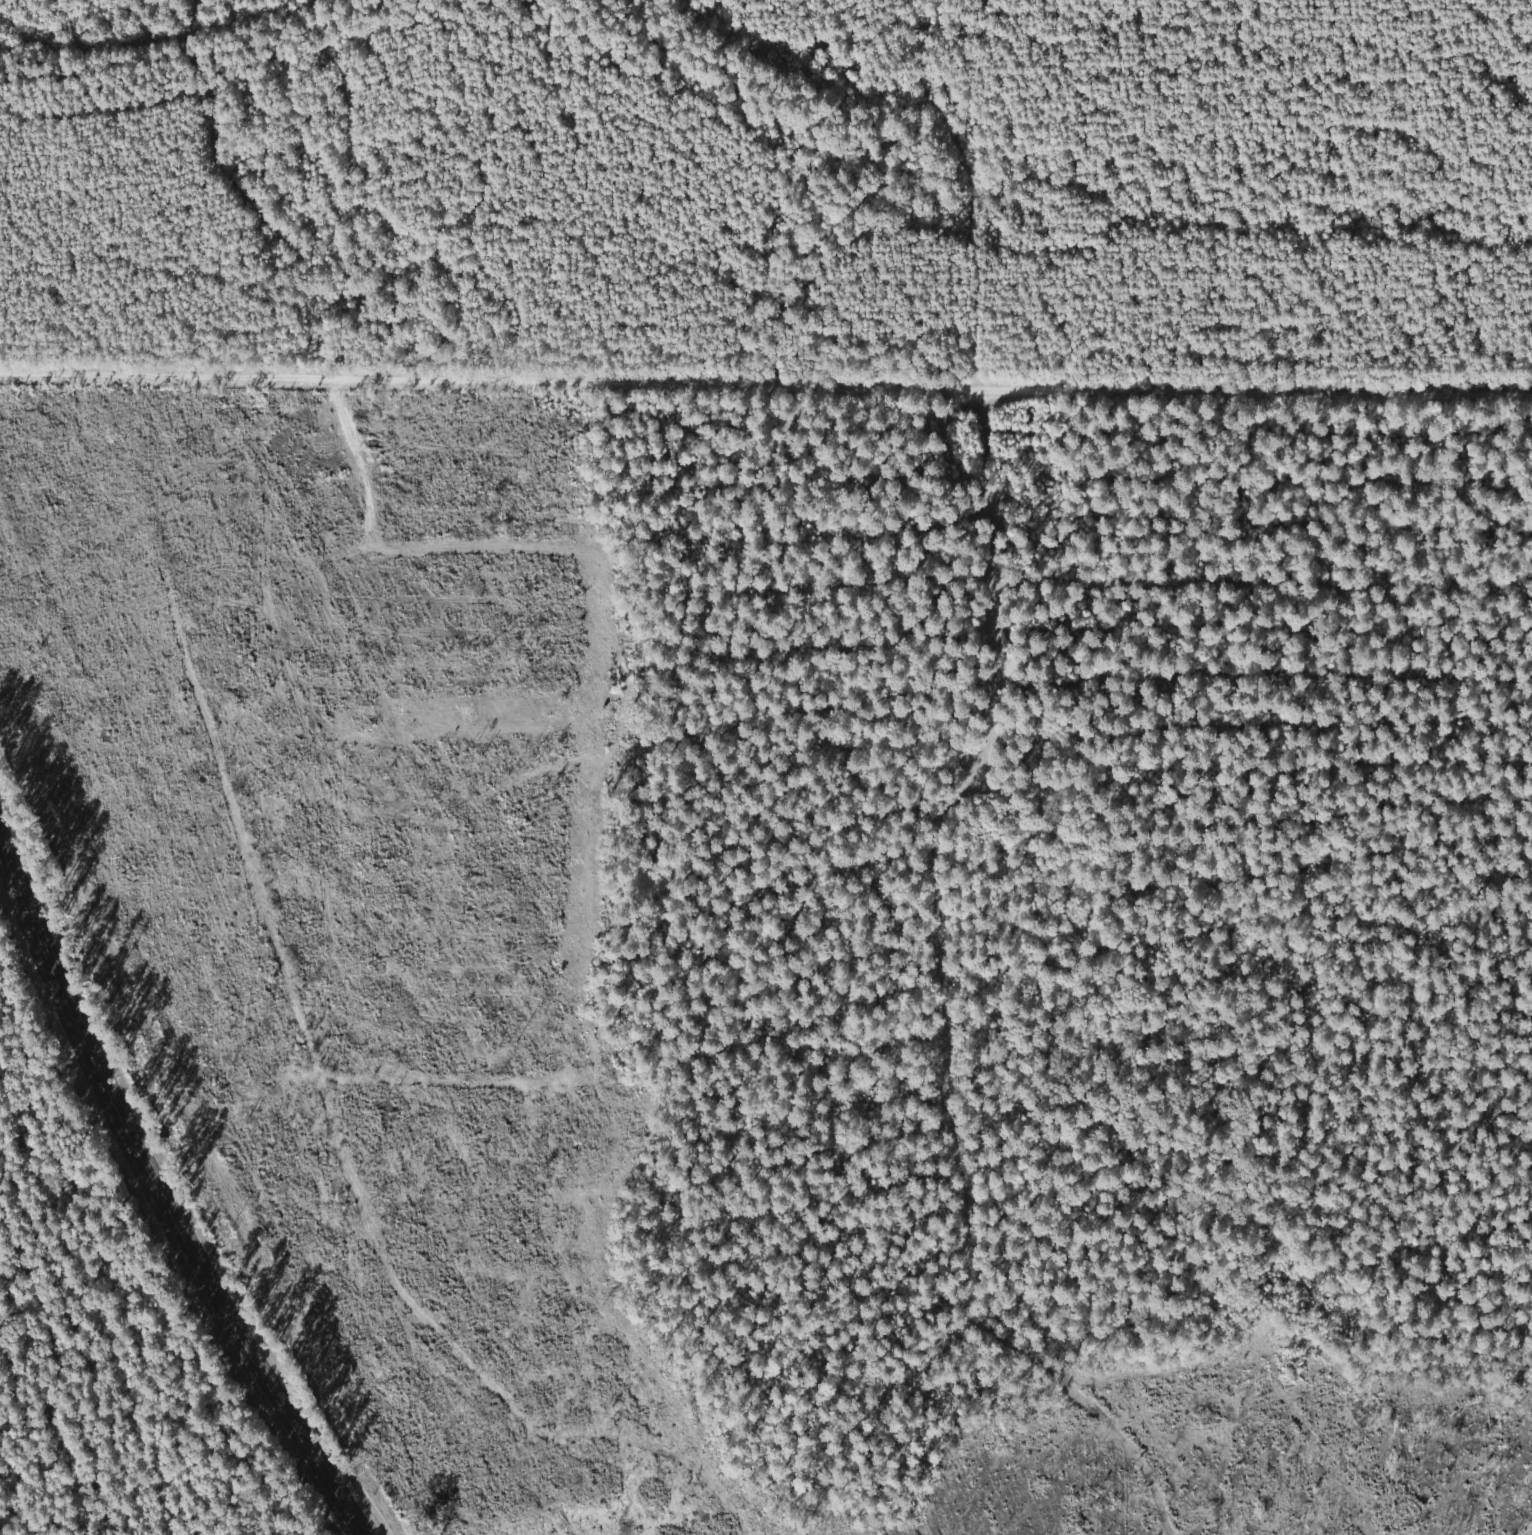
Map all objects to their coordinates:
road: (766, 386)
road: (164, 1200)

